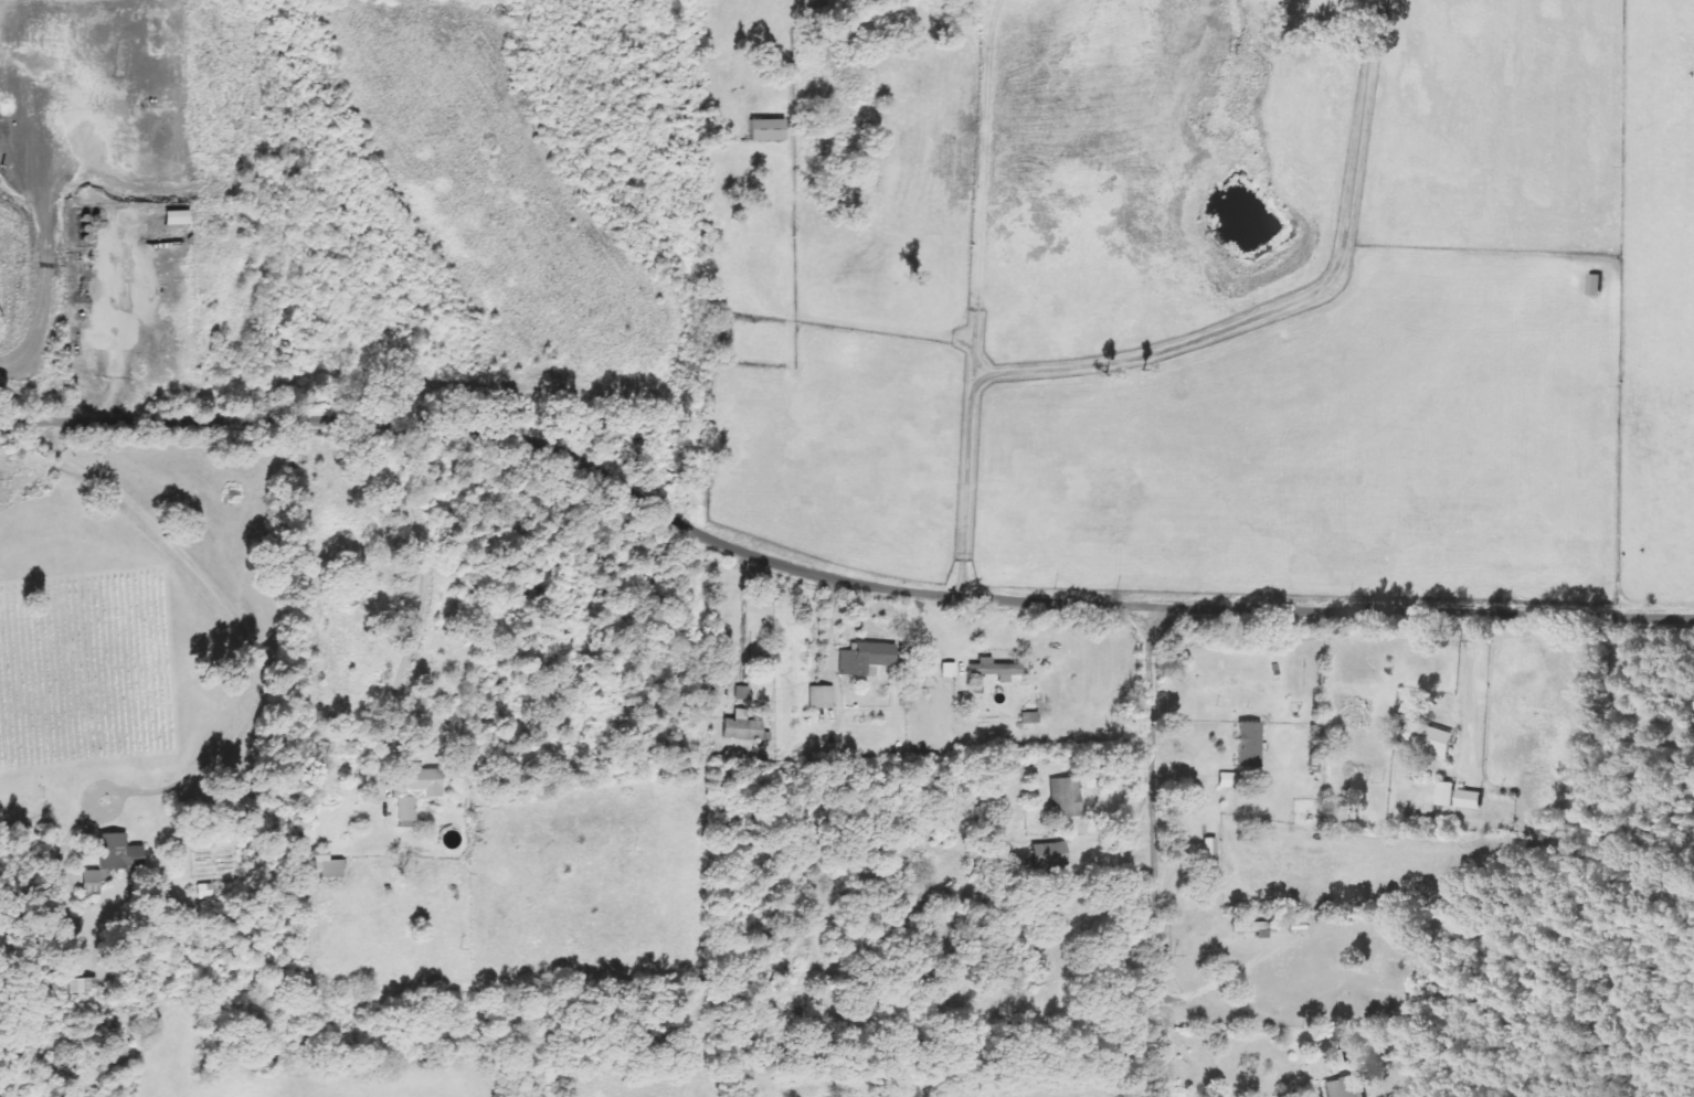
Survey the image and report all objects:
building: (763, 130)
building: (172, 217)
building: (1595, 285)
road: (1151, 348)
road: (834, 571)
building: (864, 660)
building: (991, 669)
building: (946, 670)
building: (718, 682)
building: (740, 693)
building: (818, 697)
building: (739, 727)
building: (1429, 738)
building: (1246, 745)
building: (1225, 780)
building: (415, 791)
building: (1063, 798)
building: (1469, 800)
road: (1154, 849)
building: (1207, 852)
building: (1046, 855)
building: (108, 863)
building: (320, 864)
building: (1252, 928)
building: (54, 981)
building: (80, 986)
building: (1336, 1063)
road: (1195, 1065)
building: (1344, 1087)

